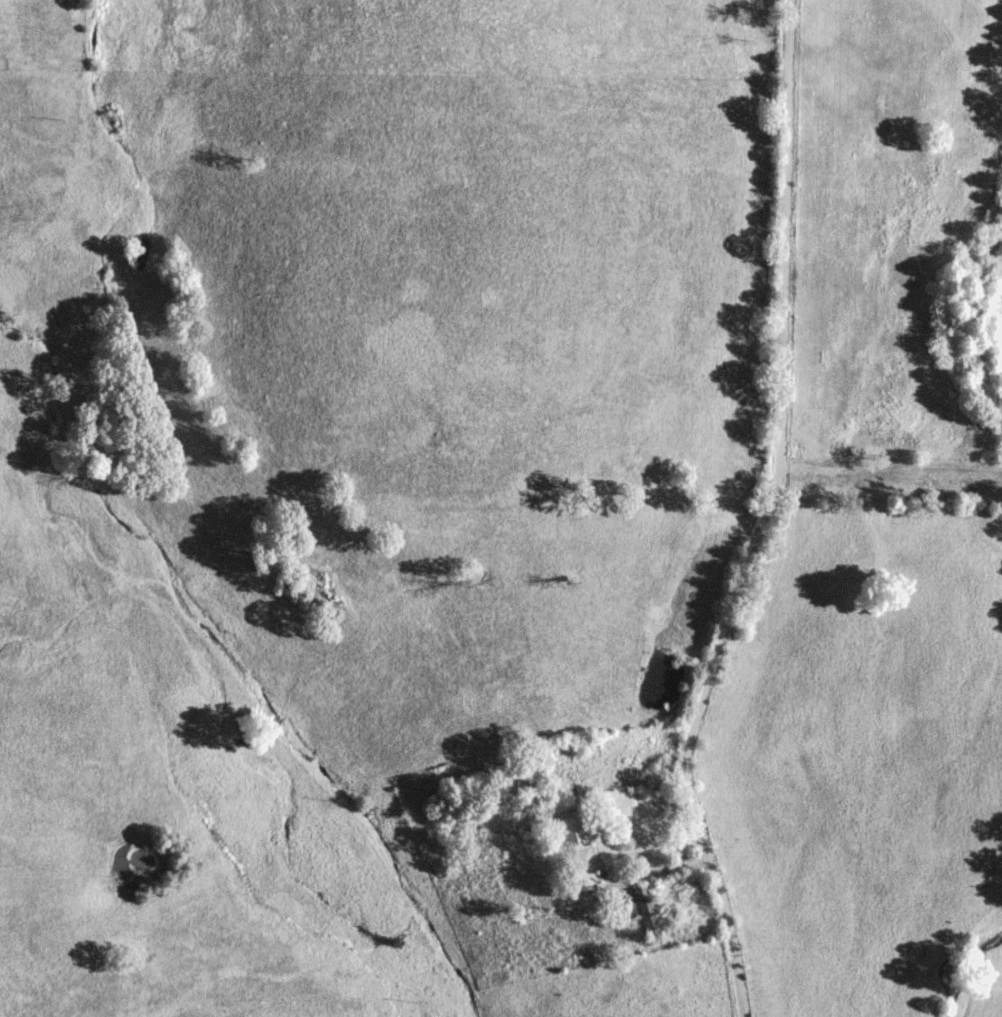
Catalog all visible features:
road: (754, 512)

